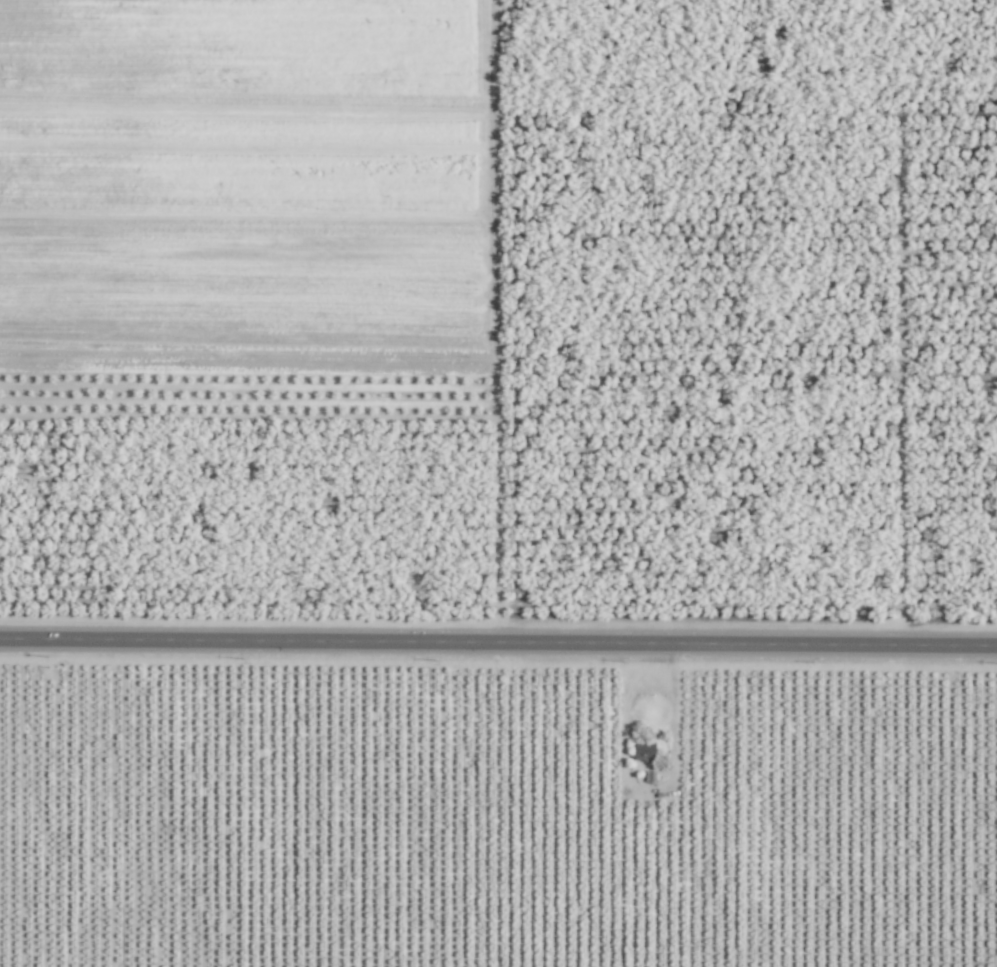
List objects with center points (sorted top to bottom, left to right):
road: (498, 643)

